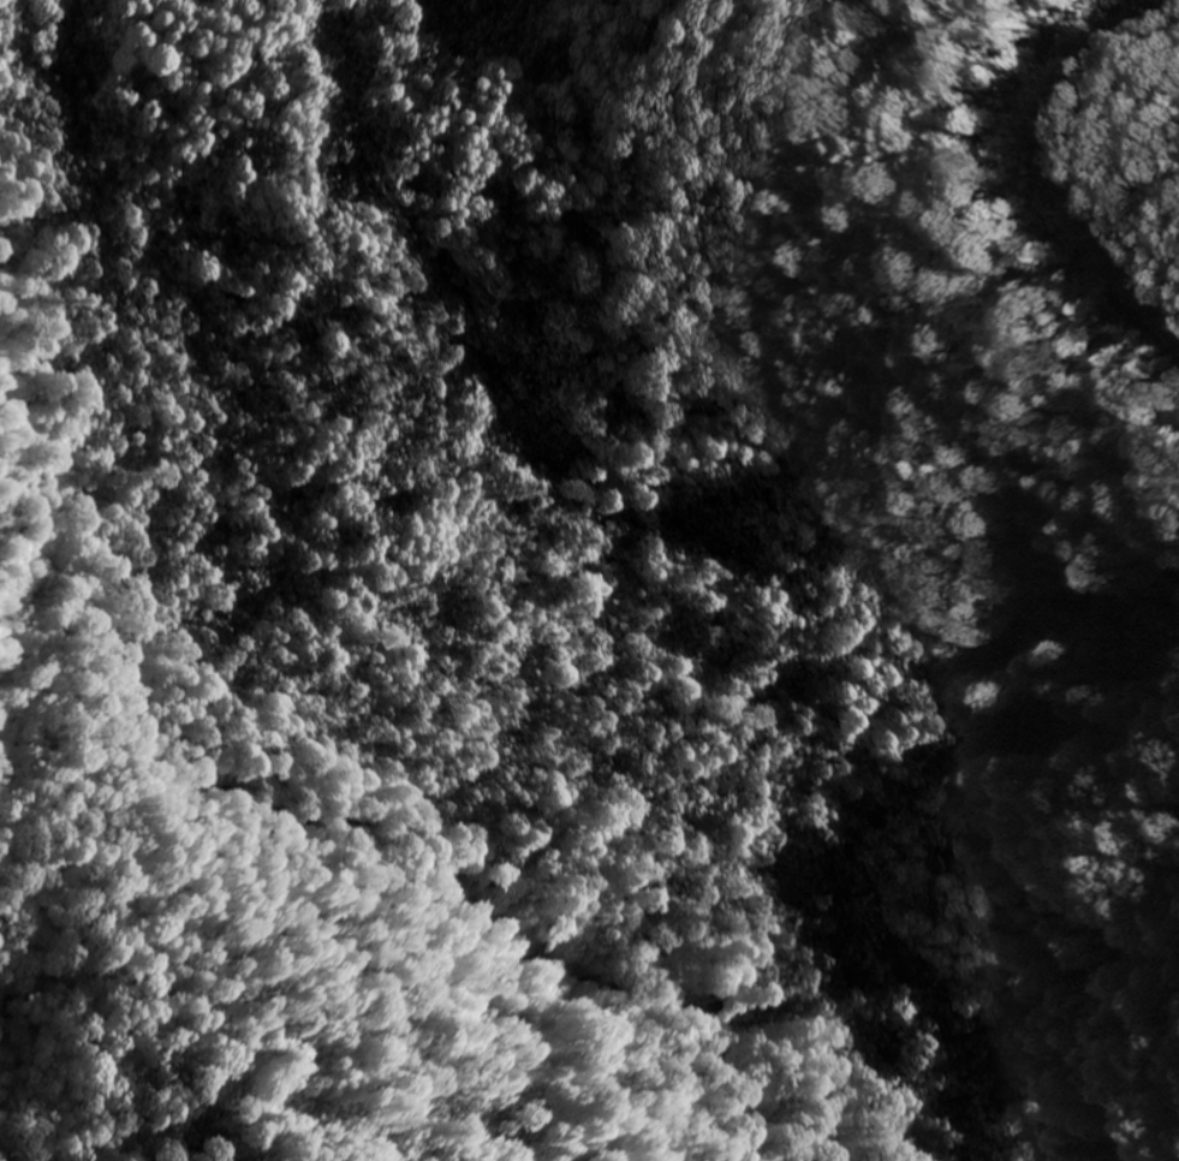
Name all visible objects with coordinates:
road: (1076, 156)

